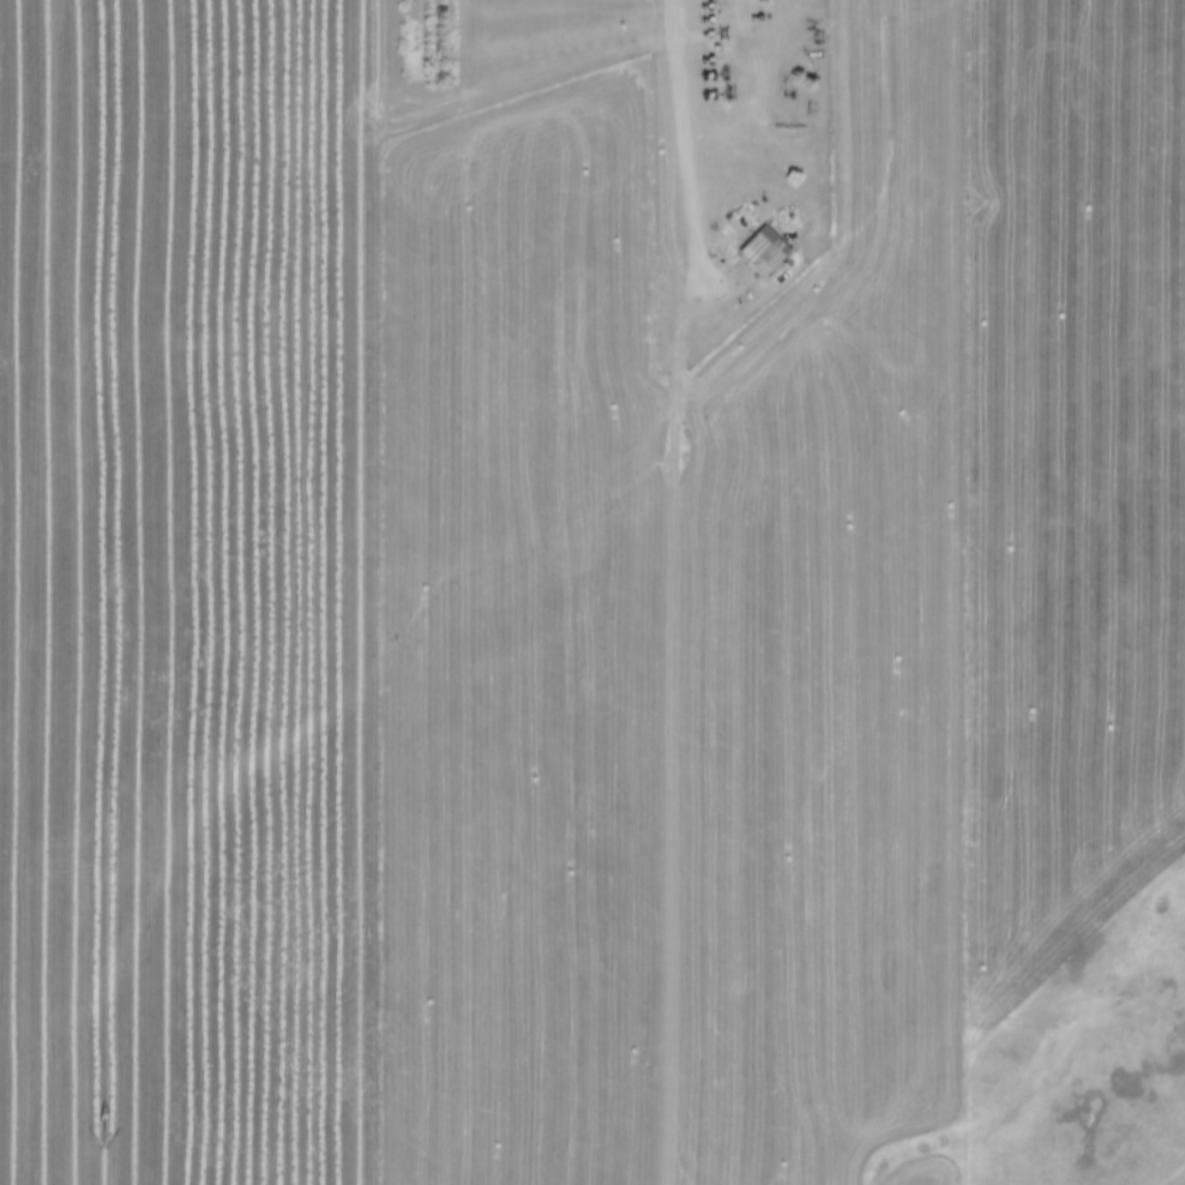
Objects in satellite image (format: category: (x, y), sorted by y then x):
road: (684, 160)
building: (765, 240)

